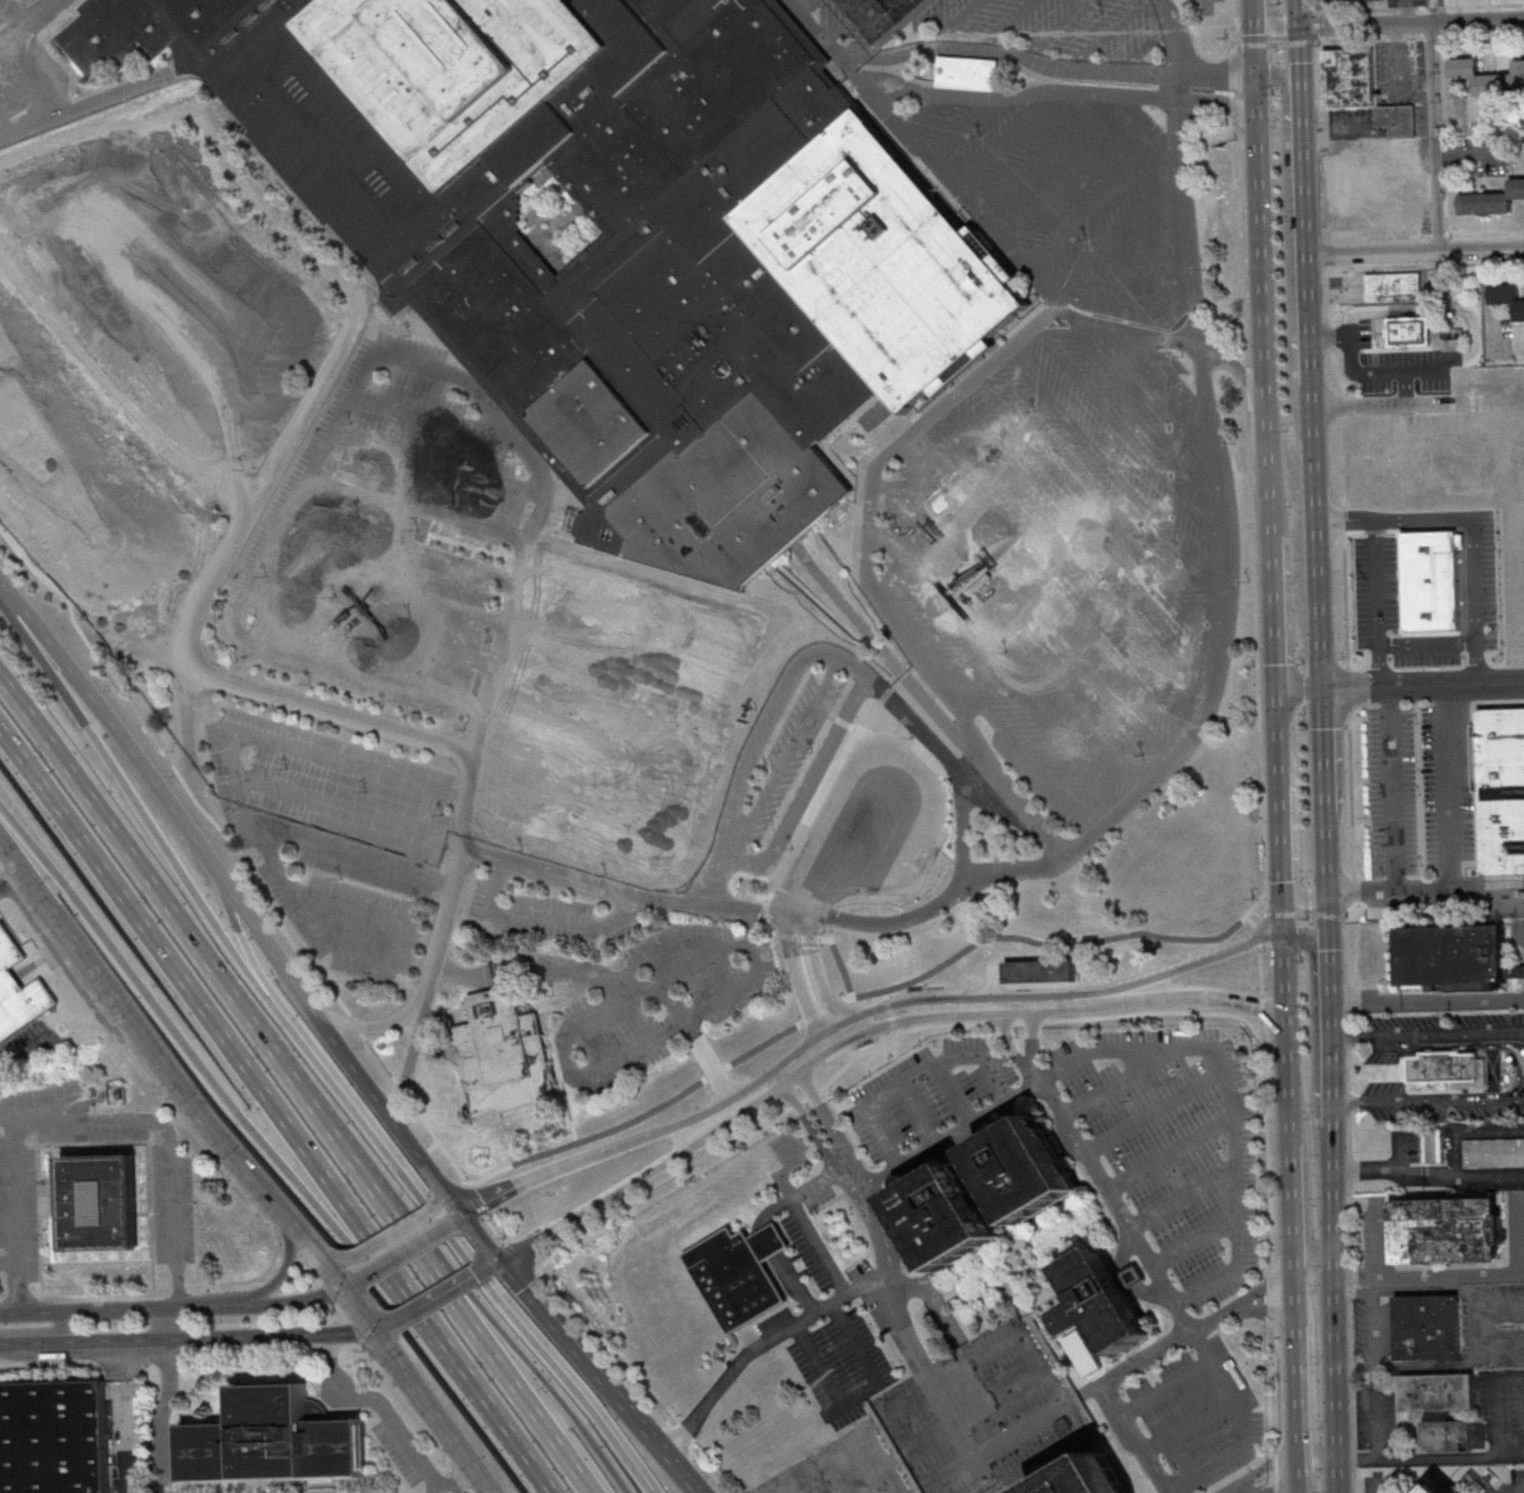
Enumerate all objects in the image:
road: (810, 5)
road: (1469, 6)
road: (1362, 8)
road: (1407, 8)
road: (1323, 9)
road: (1407, 13)
road: (849, 18)
road: (1180, 20)
road: (1315, 22)
road: (956, 23)
road: (1007, 24)
road: (1412, 25)
road: (29, 27)
road: (893, 27)
traffic signals: (1301, 27)
road: (1058, 28)
road: (1271, 30)
road: (1106, 33)
road: (1481, 34)
road: (1431, 36)
road: (1370, 38)
road: (1252, 41)
road: (1301, 41)
road: (1276, 43)
road: (1146, 46)
road: (979, 47)
road: (1222, 56)
road: (1237, 65)
building: (968, 72)
road: (1222, 75)
traffic signals: (1260, 77)
building: (1487, 77)
road: (1064, 90)
road: (1238, 95)
road: (1226, 105)
road: (925, 109)
road: (1238, 115)
road: (962, 124)
road: (1149, 124)
traffic signals: (1262, 129)
road: (1009, 137)
road: (1433, 137)
building: (1376, 140)
road: (1046, 153)
road: (1305, 169)
road: (1071, 177)
building: (1492, 200)
road: (1096, 204)
road: (1264, 228)
road: (1290, 231)
road: (1485, 233)
road: (1439, 235)
building: (616, 237)
road: (1115, 237)
road: (1377, 237)
road: (1416, 252)
road: (1244, 255)
road: (1140, 263)
road: (1423, 265)
building: (1393, 286)
building: (1507, 297)
road: (1128, 311)
building: (1407, 331)
road: (1127, 332)
road: (1303, 338)
road: (389, 353)
road: (1326, 353)
road: (1240, 372)
road: (1402, 372)
road: (440, 416)
road: (922, 427)
road: (438, 464)
road: (1317, 484)
road: (1273, 495)
road: (419, 505)
road: (1408, 522)
road: (400, 545)
road: (387, 586)
road: (1385, 604)
road: (1276, 610)
road: (370, 630)
road: (1255, 630)
road: (835, 654)
road: (1321, 657)
road: (1455, 682)
traffic signals: (1322, 683)
road: (1300, 684)
traffic signals: (1278, 685)
road: (1354, 685)
road: (1346, 692)
road: (331, 707)
road: (112, 721)
road: (1323, 757)
road: (781, 764)
road: (191, 767)
road: (1391, 789)
road: (1452, 789)
building: (1501, 793)
road: (1350, 797)
road: (1127, 807)
road: (137, 808)
road: (1281, 809)
road: (352, 810)
road: (932, 826)
road: (1295, 826)
road: (258, 832)
road: (799, 849)
building: (1165, 856)
road: (356, 857)
road: (11, 881)
road: (1360, 891)
road: (1348, 893)
road: (1459, 896)
road: (1263, 897)
traffic signals: (1327, 897)
road: (1087, 900)
road: (1280, 906)
road: (1304, 913)
road: (542, 916)
road: (1326, 916)
road: (1340, 919)
road: (1248, 922)
road: (753, 928)
traffic signals: (1280, 933)
road: (1255, 938)
road: (1128, 939)
road: (243, 943)
road: (929, 951)
road: (813, 956)
building: (1455, 956)
road: (792, 965)
road: (209, 968)
road: (525, 969)
building: (1041, 970)
road: (1257, 974)
road: (863, 975)
road: (745, 981)
road: (1281, 984)
road: (651, 988)
building: (18, 990)
road: (1426, 998)
road: (1117, 1000)
road: (1328, 1004)
road: (675, 1010)
road: (1259, 1010)
road: (802, 1012)
road: (931, 1014)
road: (1149, 1015)
road: (1013, 1021)
road: (907, 1023)
road: (373, 1024)
road: (134, 1027)
road: (1027, 1029)
road: (1005, 1035)
road: (1426, 1035)
traffic signals: (1283, 1036)
road: (901, 1041)
road: (335, 1042)
road: (1313, 1044)
road: (225, 1045)
building: (504, 1055)
road: (564, 1055)
road: (411, 1057)
road: (1283, 1057)
road: (779, 1061)
road: (711, 1066)
building: (1444, 1067)
road: (1117, 1081)
road: (213, 1088)
road: (806, 1098)
road: (1427, 1099)
road: (1228, 1103)
road: (9, 1111)
road: (1150, 1113)
road: (827, 1119)
road: (811, 1128)
road: (1466, 1131)
road: (947, 1134)
road: (697, 1138)
road: (1264, 1144)
building: (1432, 1144)
road: (165, 1145)
building: (1494, 1152)
road: (564, 1154)
road: (1168, 1158)
road: (1302, 1175)
road: (1426, 1175)
road: (1329, 1185)
road: (438, 1187)
building: (988, 1193)
road: (1348, 1200)
building: (100, 1202)
road: (1182, 1202)
traffic signals: (465, 1208)
parking lot: (173, 1209)
road: (768, 1210)
road: (16, 1211)
road: (459, 1212)
road: (1329, 1219)
road: (800, 1220)
road: (1379, 1223)
road: (1126, 1229)
building: (1447, 1230)
road: (391, 1231)
road: (483, 1234)
road: (1520, 1234)
road: (572, 1236)
road: (768, 1242)
road: (1193, 1242)
road: (404, 1246)
road: (309, 1248)
road: (320, 1251)
road: (462, 1255)
road: (507, 1257)
road: (1522, 1259)
traffic signals: (502, 1260)
road: (495, 1263)
road: (7, 1265)
building: (739, 1273)
road: (1431, 1274)
road: (348, 1282)
road: (794, 1284)
road: (1290, 1285)
road: (1261, 1286)
traffic signals: (340, 1287)
road: (263, 1288)
road: (1452, 1291)
road: (1352, 1292)
road: (1269, 1293)
road: (440, 1294)
building: (1101, 1300)
road: (286, 1304)
road: (204, 1306)
road: (1263, 1308)
road: (356, 1309)
road: (89, 1311)
road: (805, 1319)
road: (164, 1323)
road: (381, 1326)
building: (1426, 1326)
road: (1482, 1326)
road: (40, 1330)
traffic signals: (372, 1331)
road: (564, 1333)
road: (268, 1335)
road: (82, 1340)
road: (855, 1343)
road: (1352, 1362)
road: (818, 1365)
road: (1420, 1366)
road: (524, 1367)
road: (1308, 1368)
road: (1332, 1368)
road: (1216, 1374)
road: (499, 1375)
road: (1277, 1382)
road: (933, 1388)
road: (1161, 1388)
road: (860, 1394)
road: (1103, 1396)
road: (1497, 1401)
building: (1443, 1409)
road: (430, 1412)
road: (158, 1415)
road: (1374, 1419)
road: (391, 1422)
road: (493, 1426)
road: (1189, 1430)
building: (53, 1437)
building: (274, 1440)
road: (679, 1441)
road: (663, 1449)
road: (1510, 1455)
road: (819, 1458)
road: (1415, 1458)
road: (1215, 1459)
road: (1267, 1467)
road: (1278, 1471)
road: (706, 1473)
road: (862, 1478)
building: (1090, 1479)
road: (1484, 1482)
road: (1370, 1486)
road: (1251, 1488)
road: (438, 1489)
building: (1437, 1489)
road: (769, 1490)

